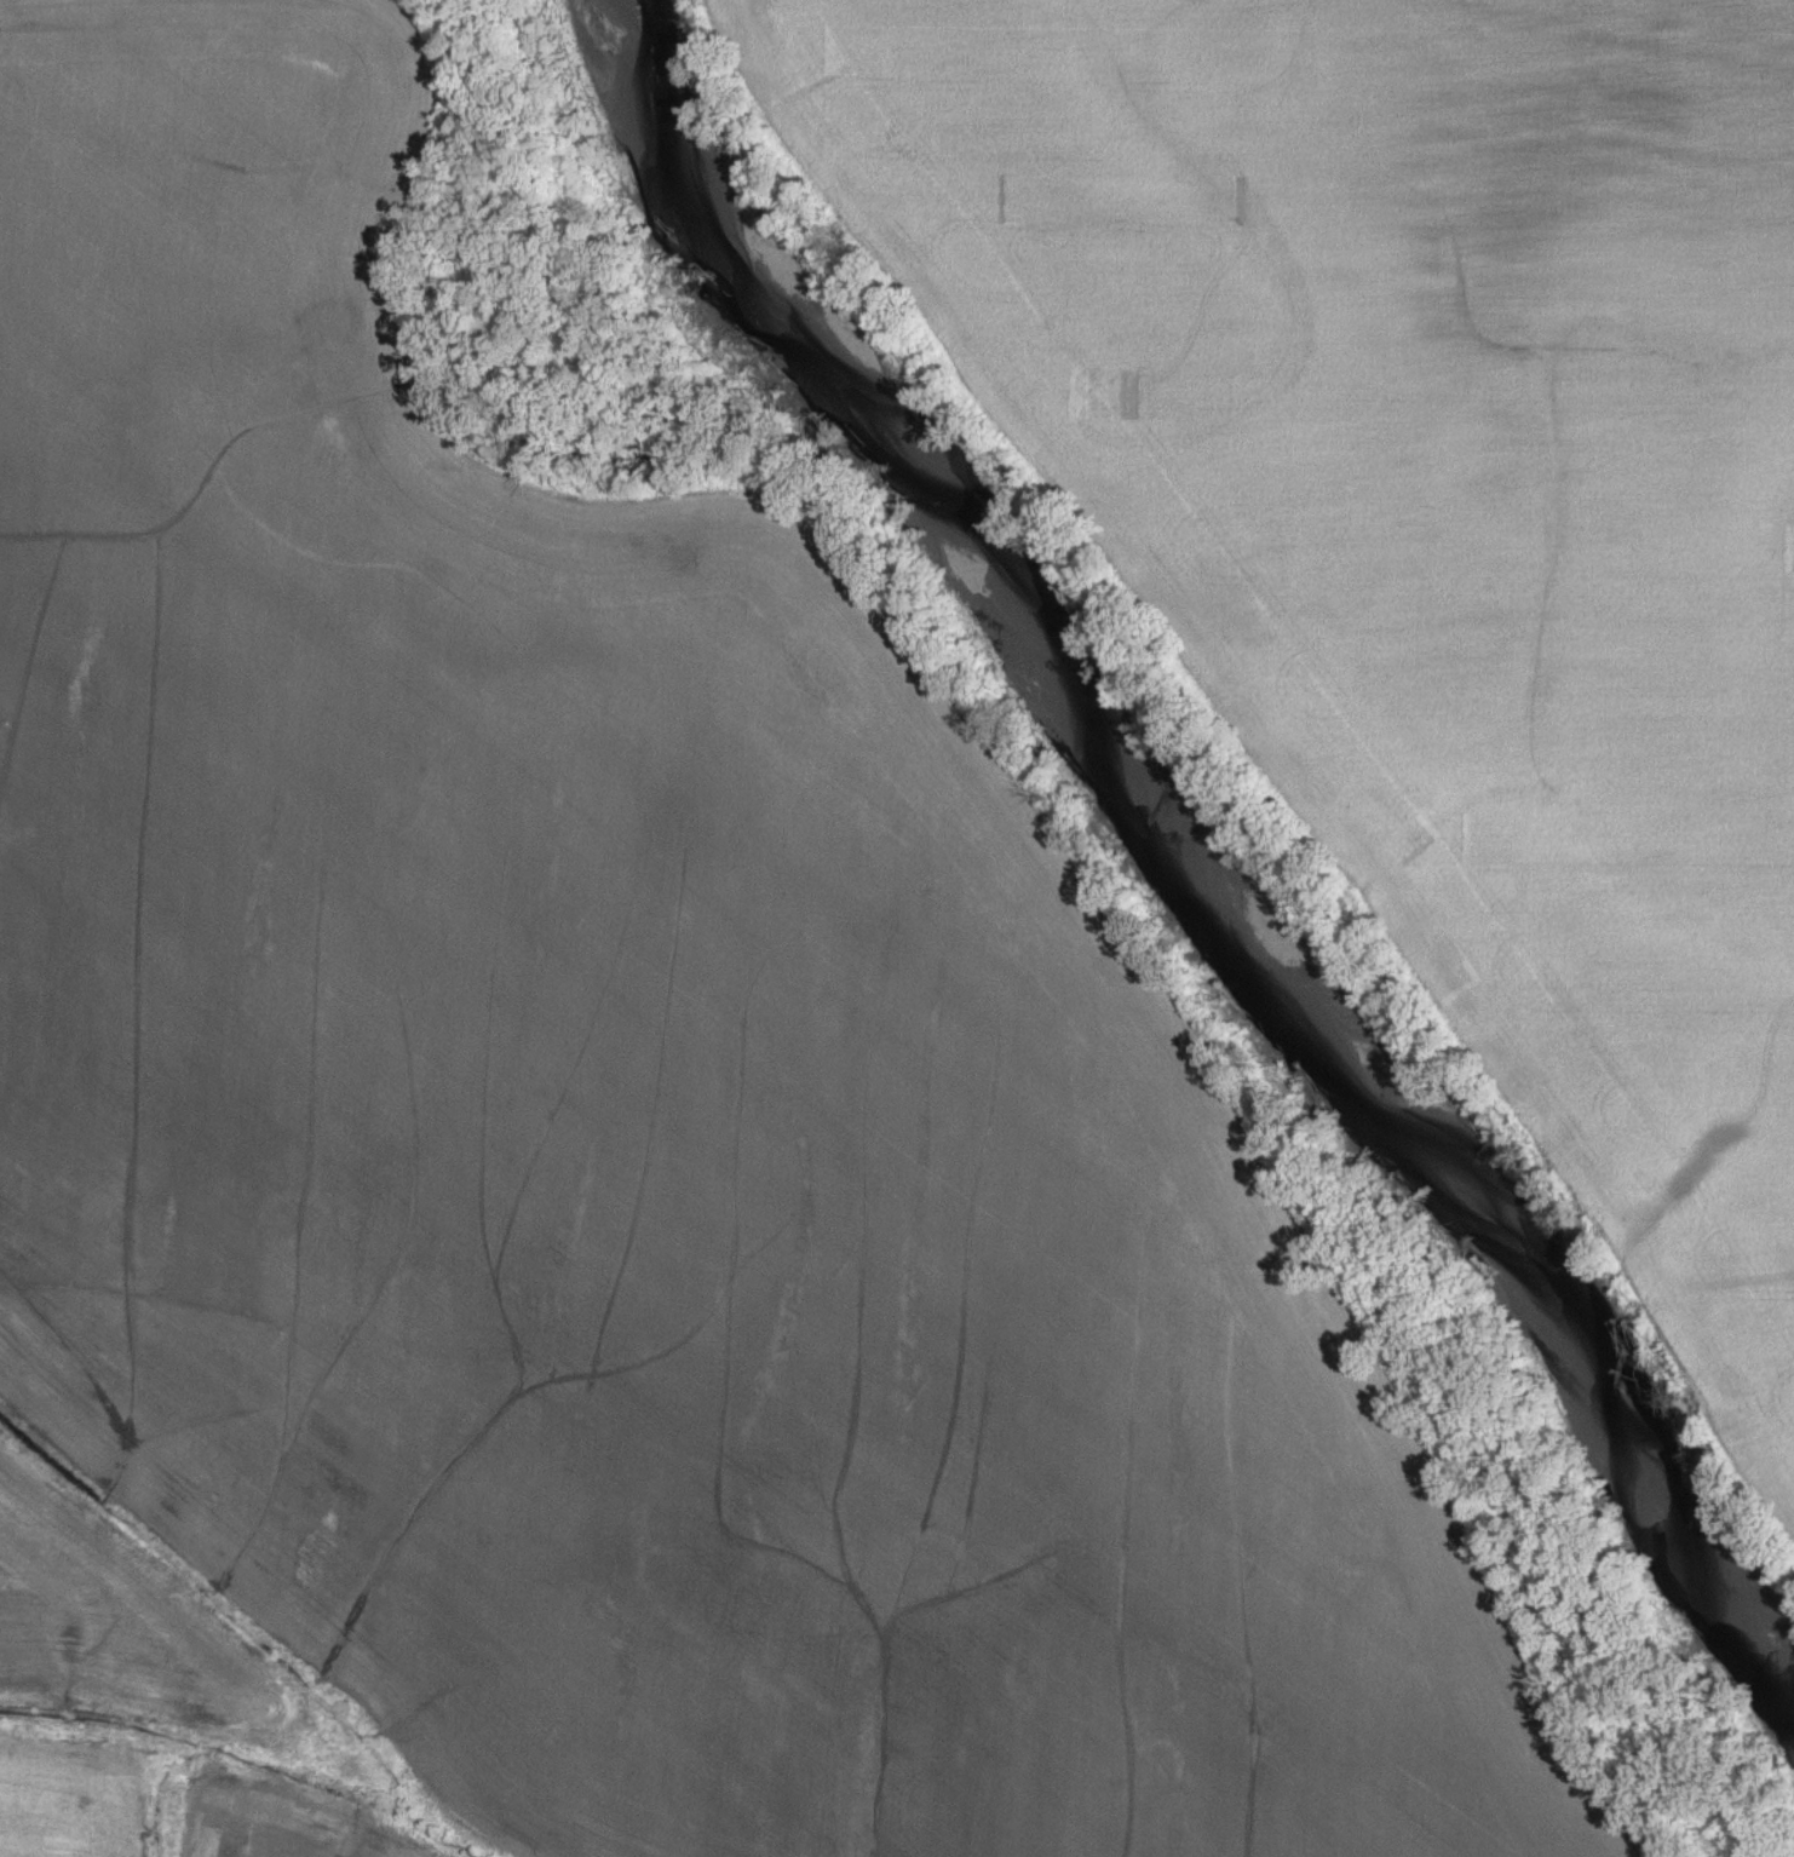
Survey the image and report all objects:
river: (1188, 862)

